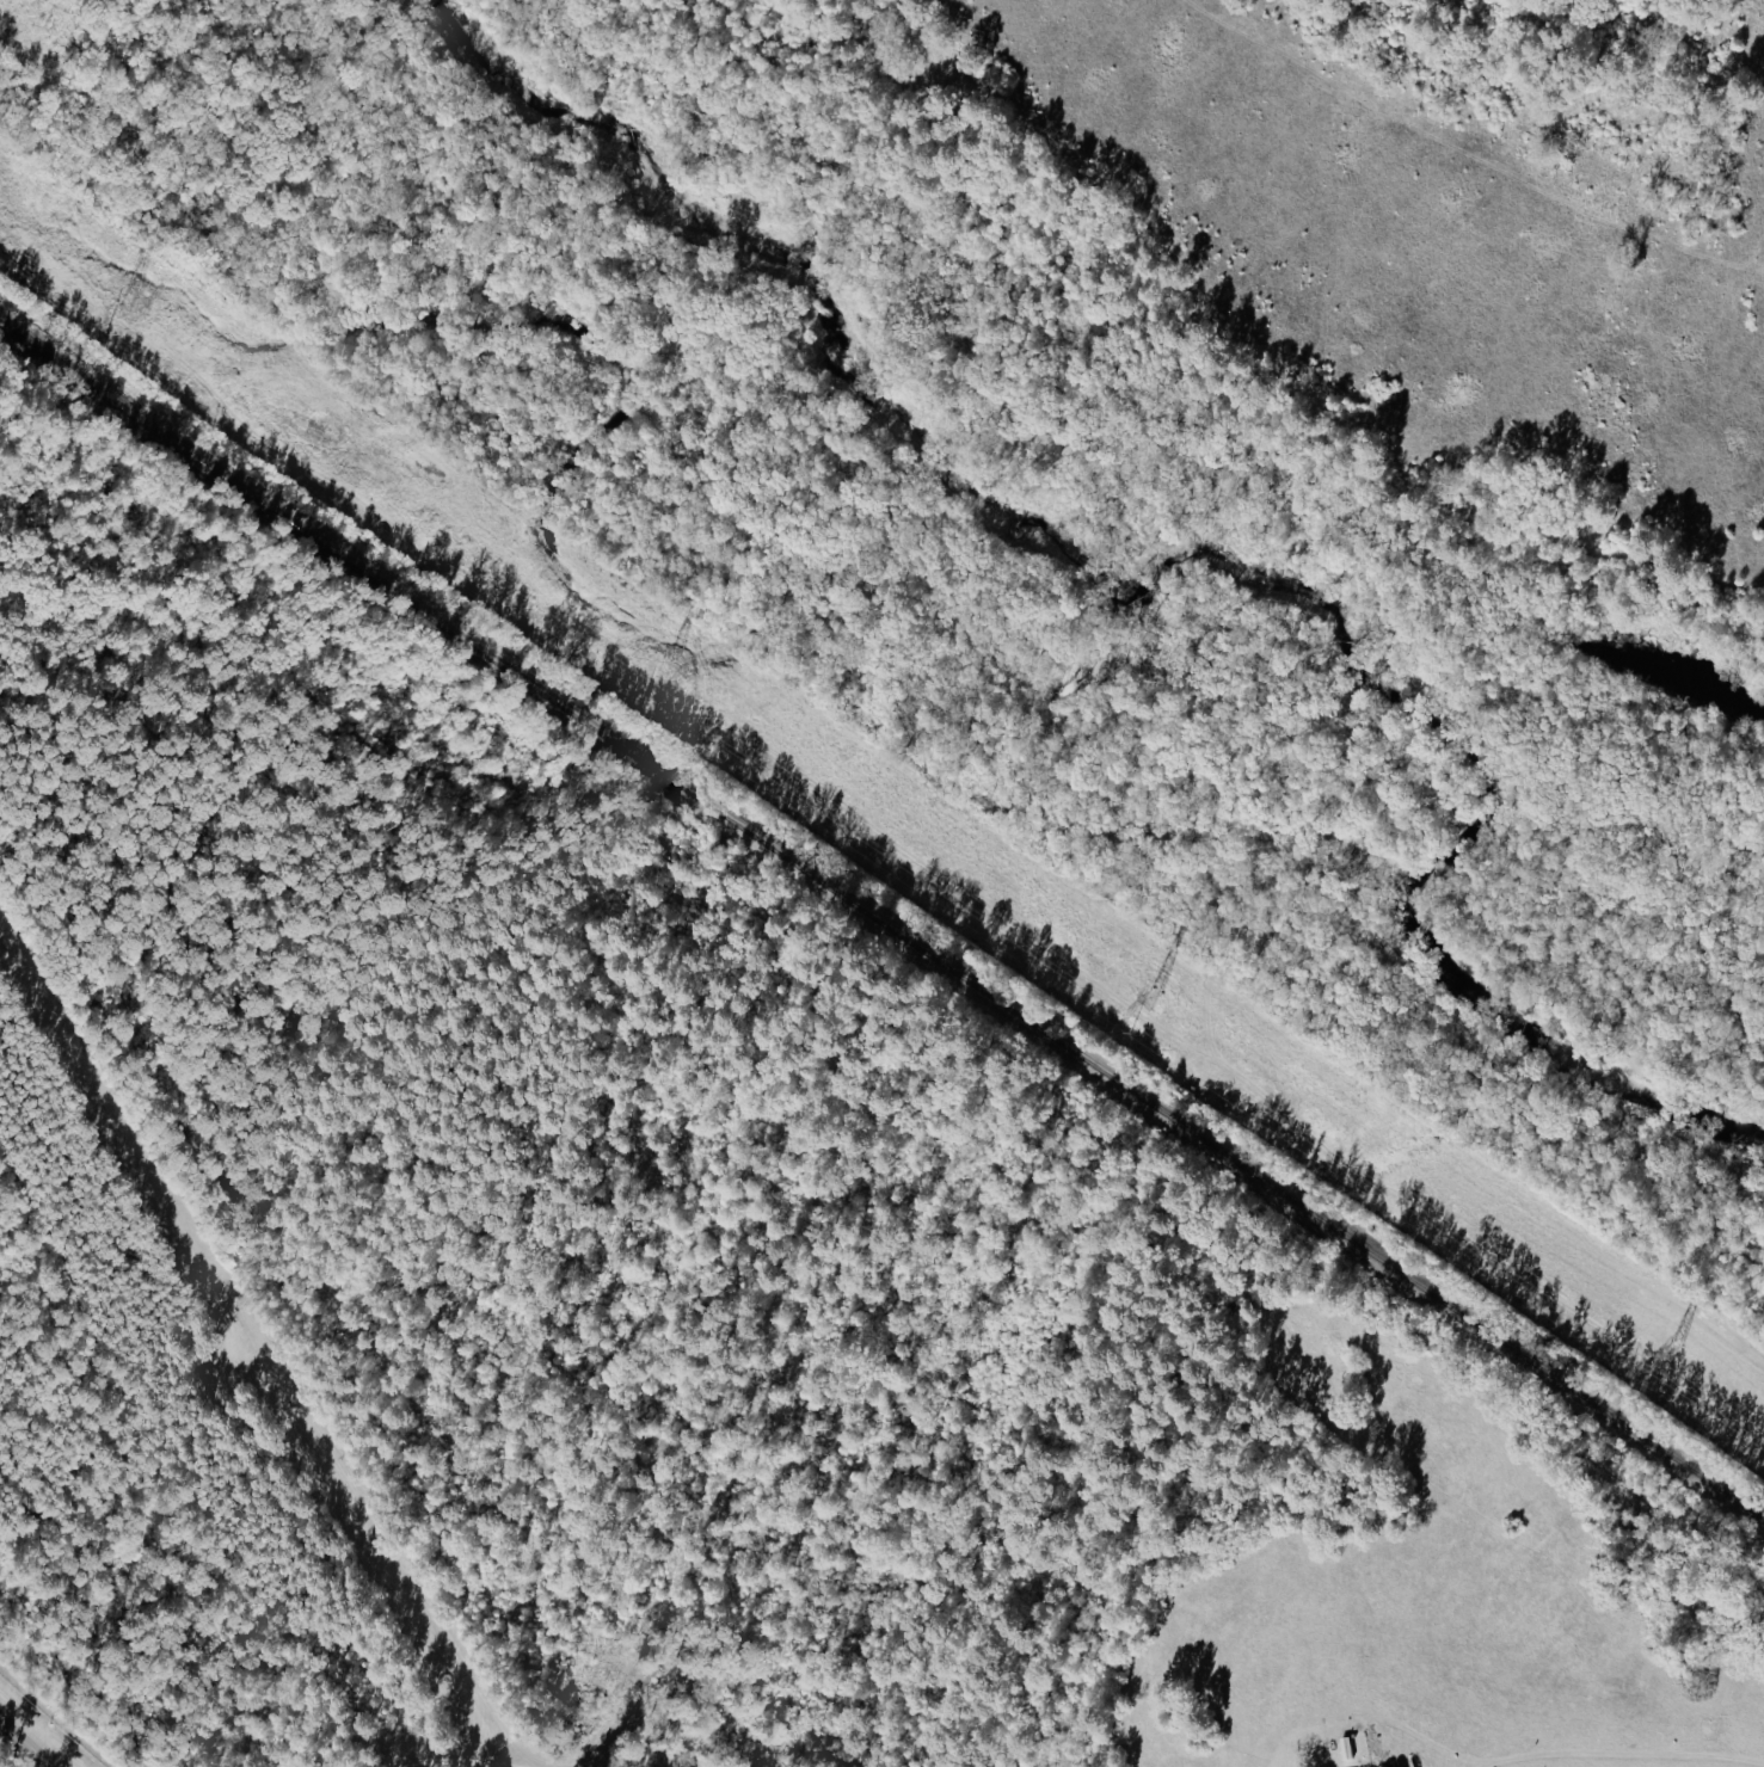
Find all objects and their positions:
power tower: (123, 303)
river: (849, 398)
power tower: (660, 670)
railway: (880, 923)
power tower: (1149, 999)
power tower: (1671, 1352)
road: (26, 1744)
road: (1628, 1753)
road: (445, 1761)

